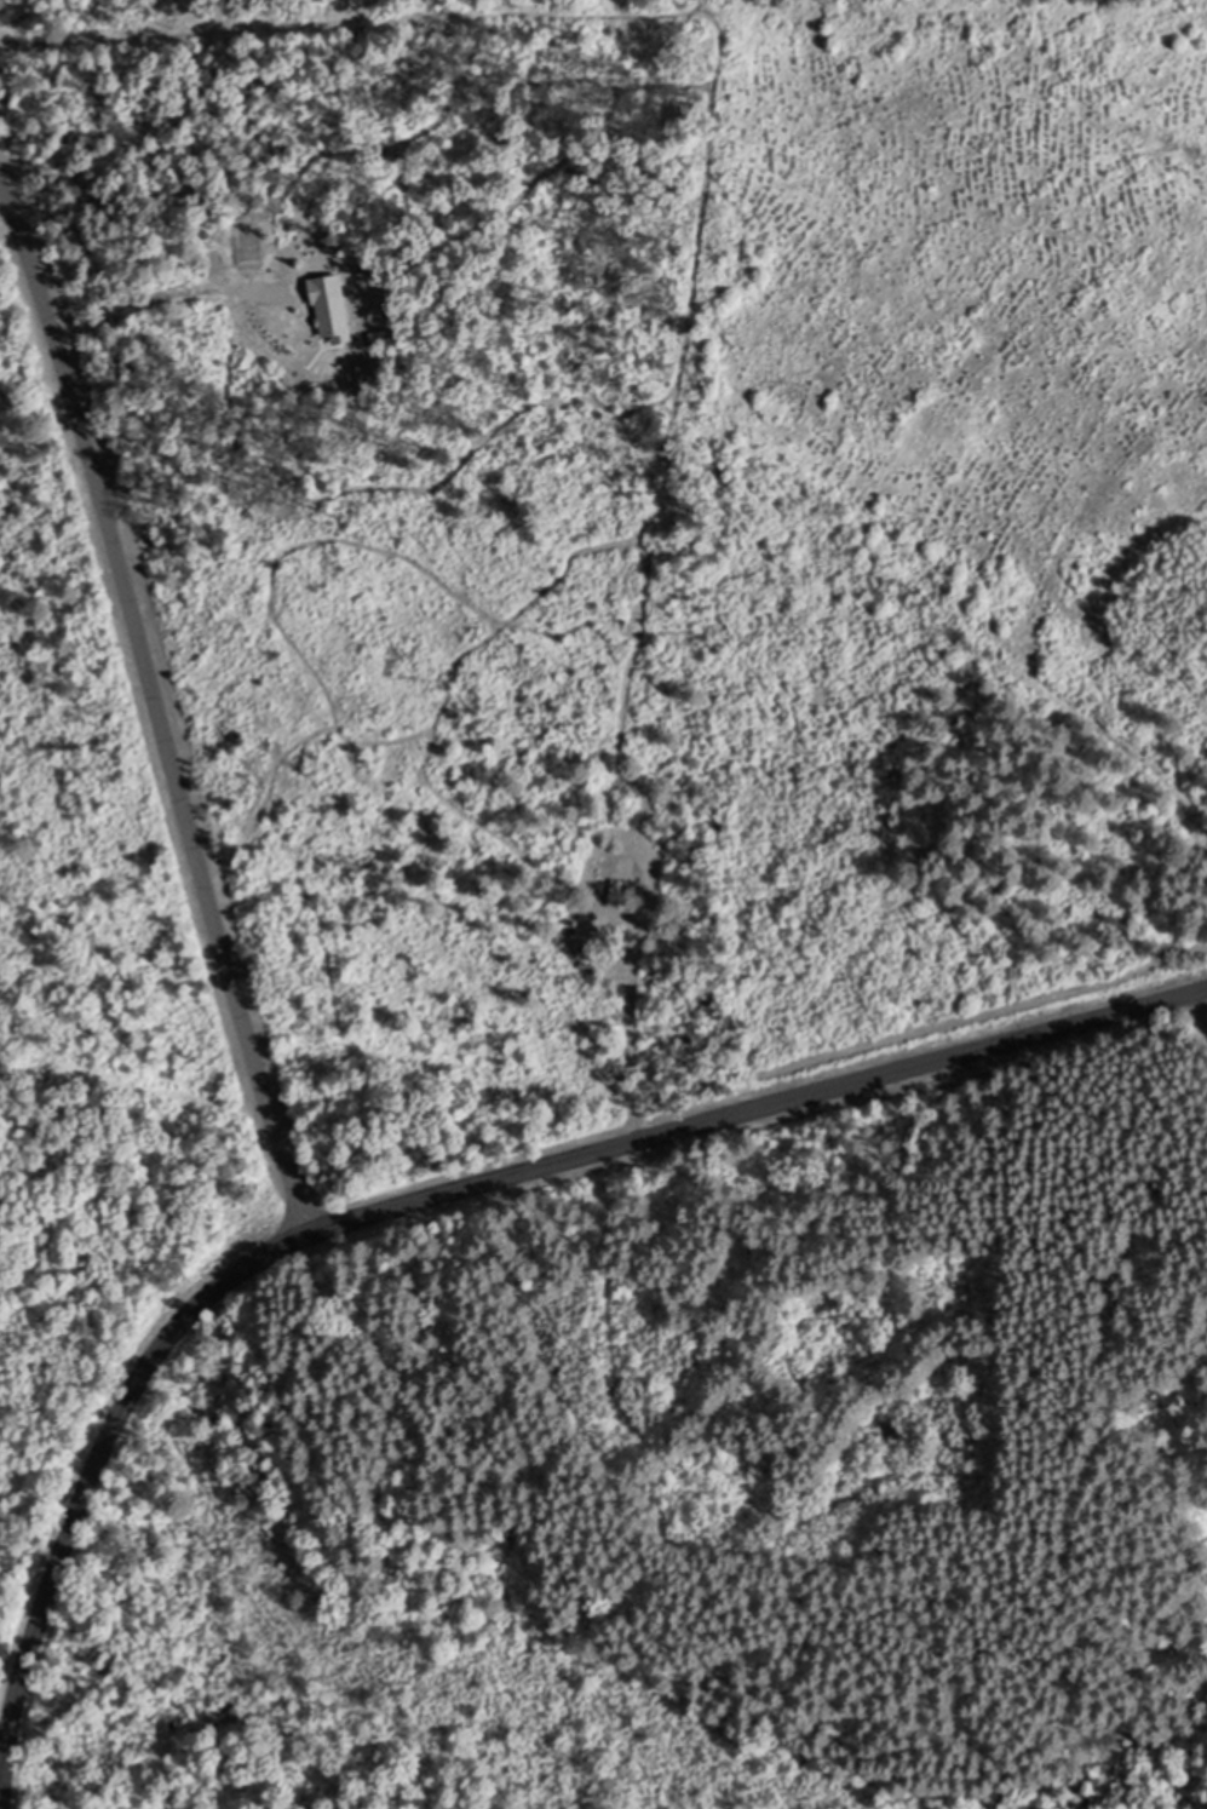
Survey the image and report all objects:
road: (153, 708)
road: (431, 1194)

